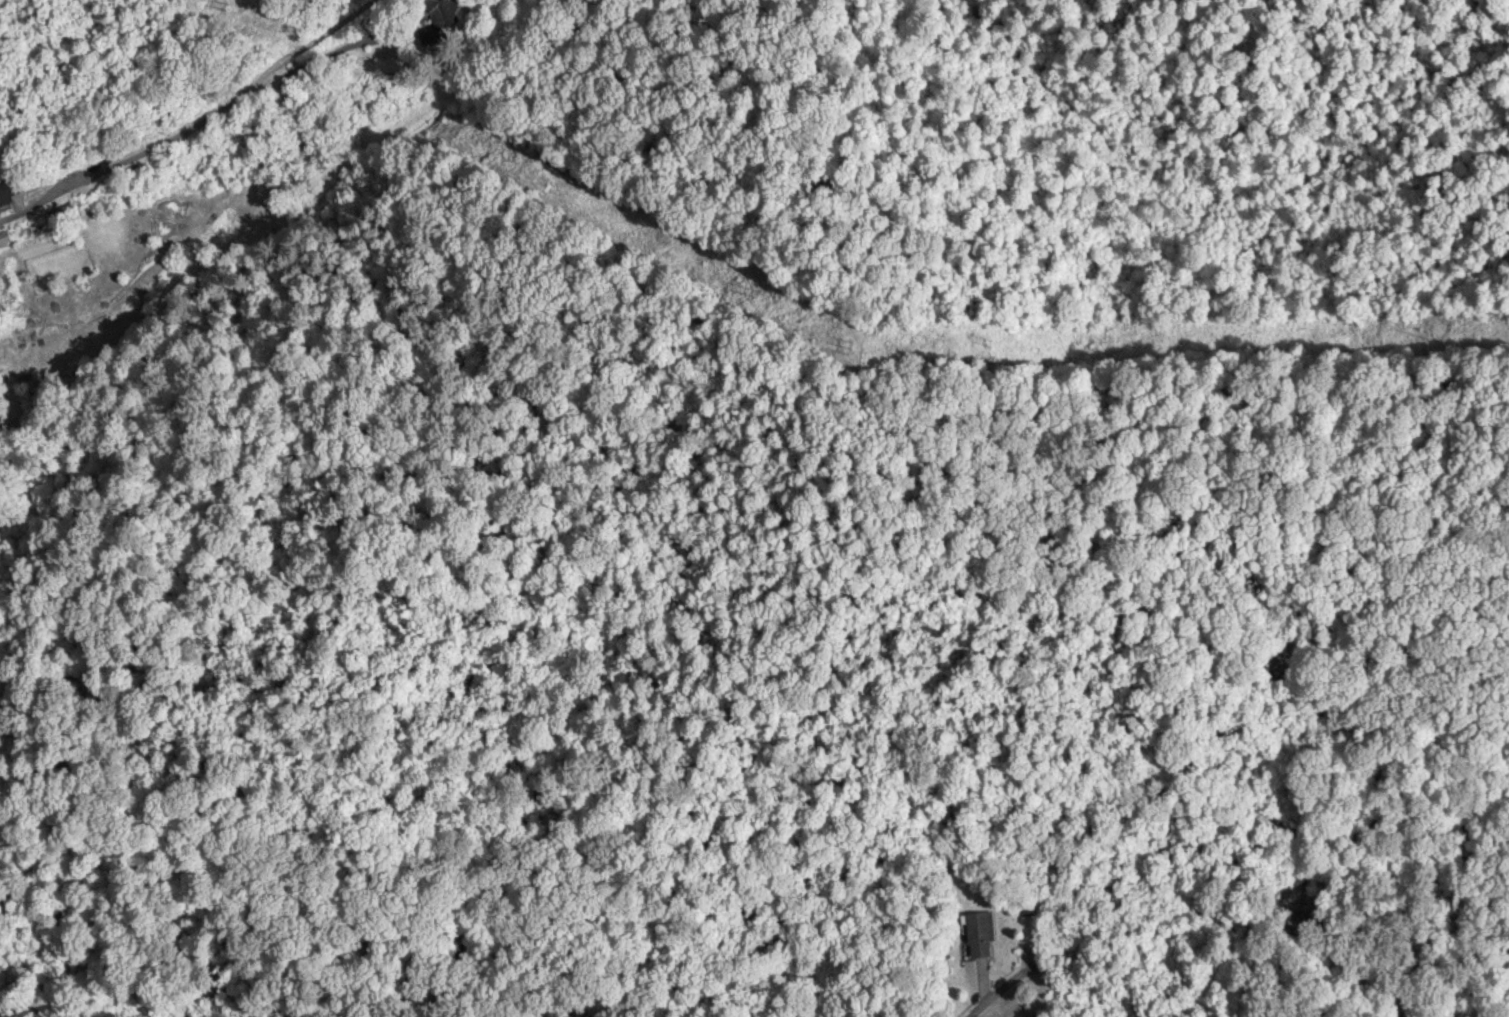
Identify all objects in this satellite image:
building: (444, 14)
road: (244, 141)
building: (12, 192)
building: (12, 240)
building: (976, 933)

